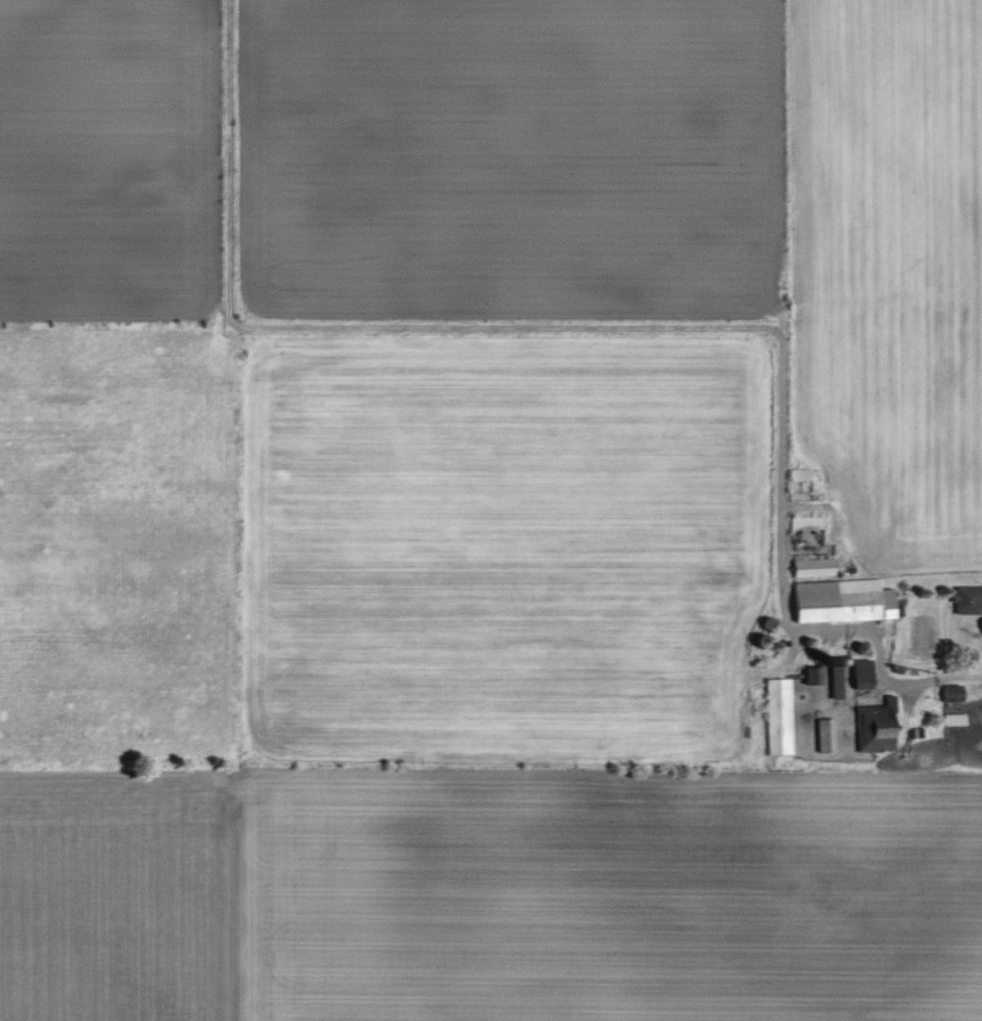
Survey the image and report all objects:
building: (804, 522)
building: (809, 567)
building: (965, 600)
building: (838, 601)
road: (881, 662)
building: (859, 674)
building: (809, 677)
building: (948, 693)
building: (776, 717)
building: (873, 727)
building: (823, 735)

